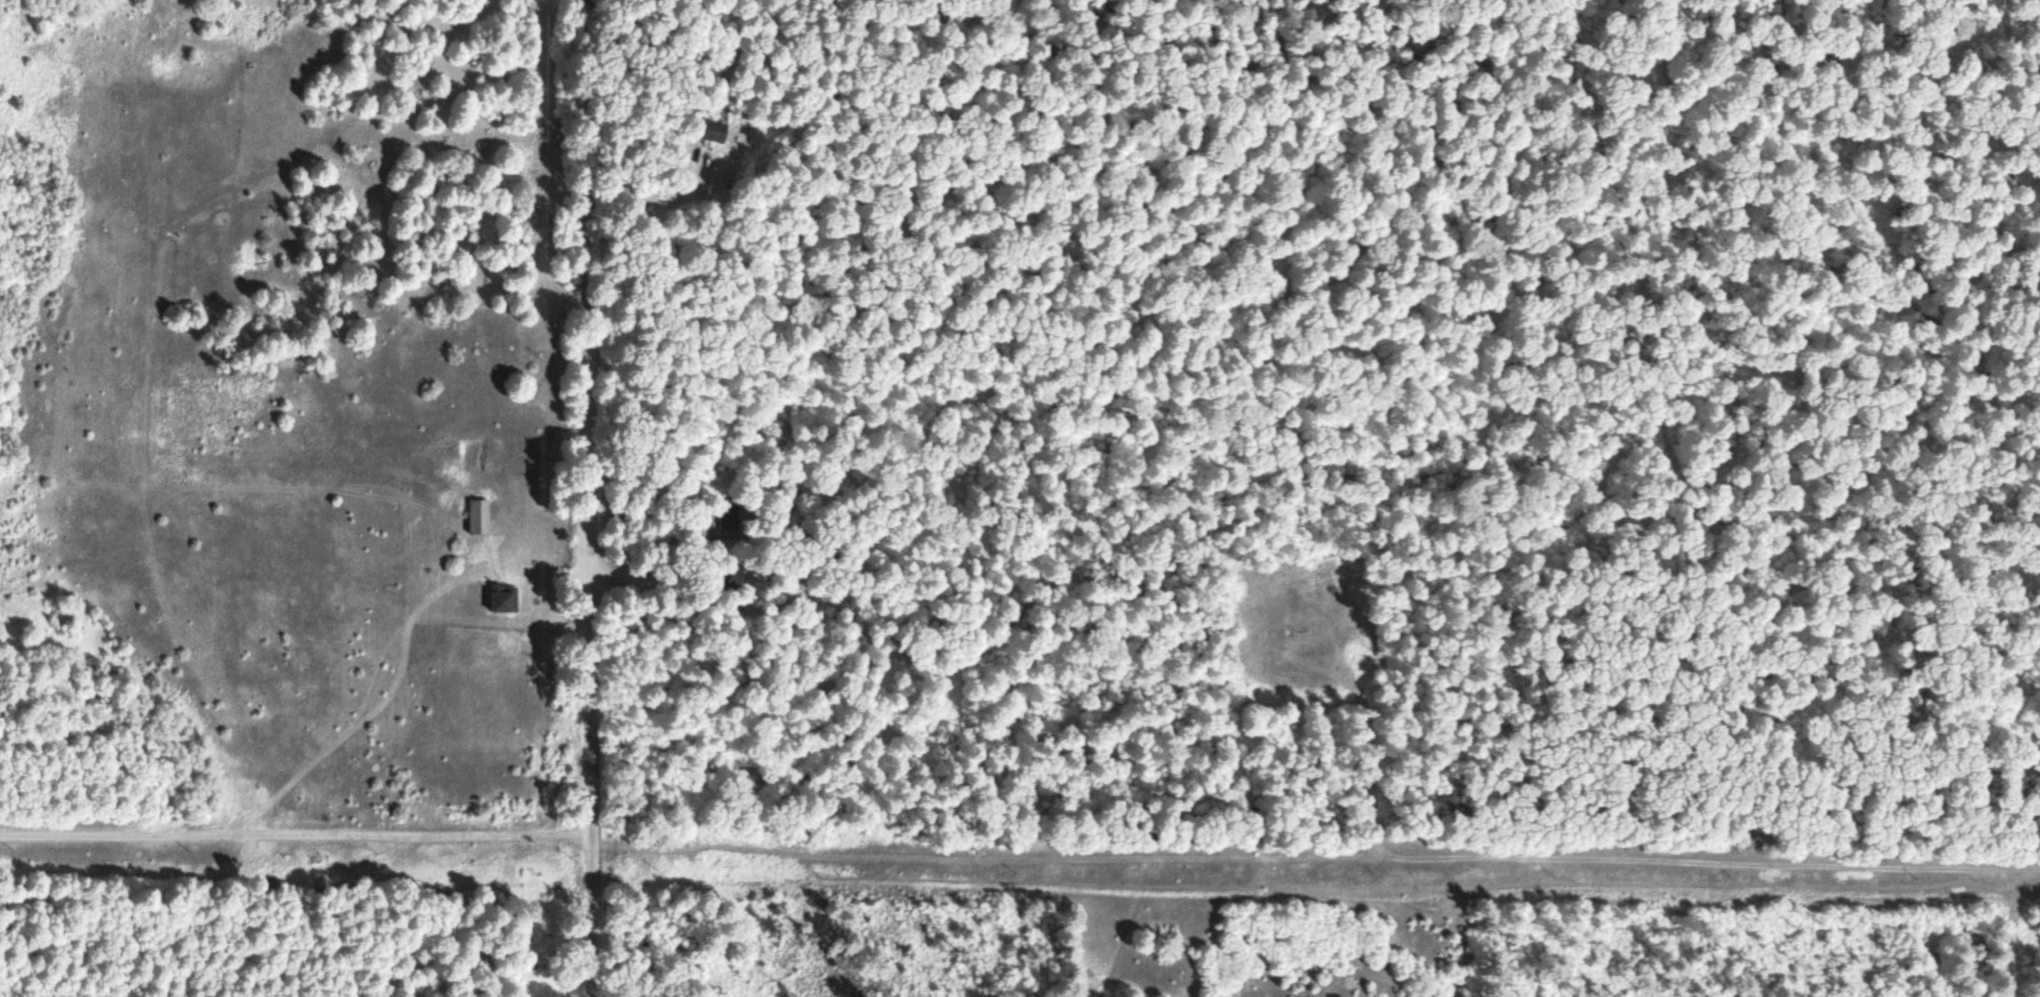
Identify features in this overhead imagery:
building: (711, 131)
road: (1797, 219)
road: (612, 498)
building: (482, 517)
building: (720, 517)
building: (507, 599)

